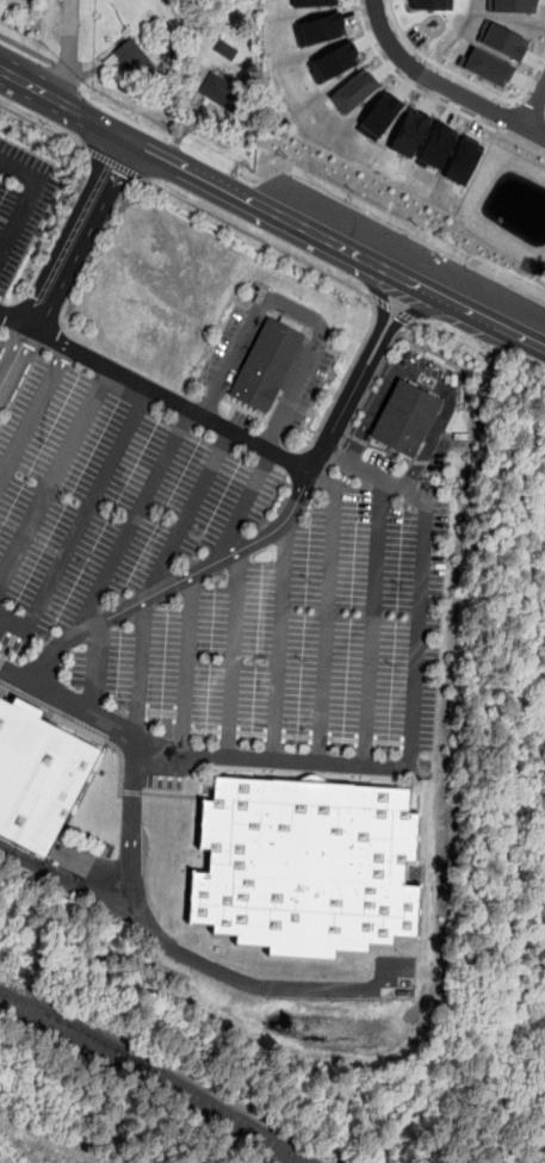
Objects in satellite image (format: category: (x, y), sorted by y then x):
building: (314, 2)
building: (431, 4)
building: (513, 5)
building: (318, 29)
parking lot: (417, 36)
building: (503, 41)
road: (27, 49)
building: (225, 49)
road: (68, 52)
building: (134, 58)
building: (334, 61)
building: (487, 66)
road: (61, 69)
road: (464, 78)
road: (440, 86)
road: (31, 88)
building: (354, 91)
building: (221, 92)
road: (431, 97)
road: (516, 101)
road: (533, 105)
road: (524, 109)
building: (379, 116)
road: (103, 126)
road: (44, 128)
building: (409, 131)
building: (436, 146)
building: (463, 161)
road: (116, 165)
road: (32, 198)
road: (249, 199)
parking lot: (20, 210)
road: (420, 233)
road: (259, 240)
road: (64, 266)
road: (379, 266)
road: (426, 291)
road: (295, 310)
road: (397, 310)
road: (380, 315)
road: (496, 326)
road: (392, 327)
parking lot: (6, 348)
road: (389, 355)
building: (266, 365)
road: (426, 378)
road: (155, 391)
road: (35, 413)
building: (405, 417)
road: (54, 471)
parking lot: (106, 501)
road: (241, 507)
road: (188, 515)
road: (80, 524)
road: (129, 525)
road: (219, 562)
road: (423, 575)
road: (329, 610)
road: (371, 623)
parking lot: (295, 635)
road: (281, 639)
road: (234, 654)
road: (188, 664)
road: (95, 672)
road: (141, 673)
road: (194, 755)
building: (33, 773)
road: (132, 830)
building: (311, 873)
road: (188, 955)
railway: (162, 1070)

